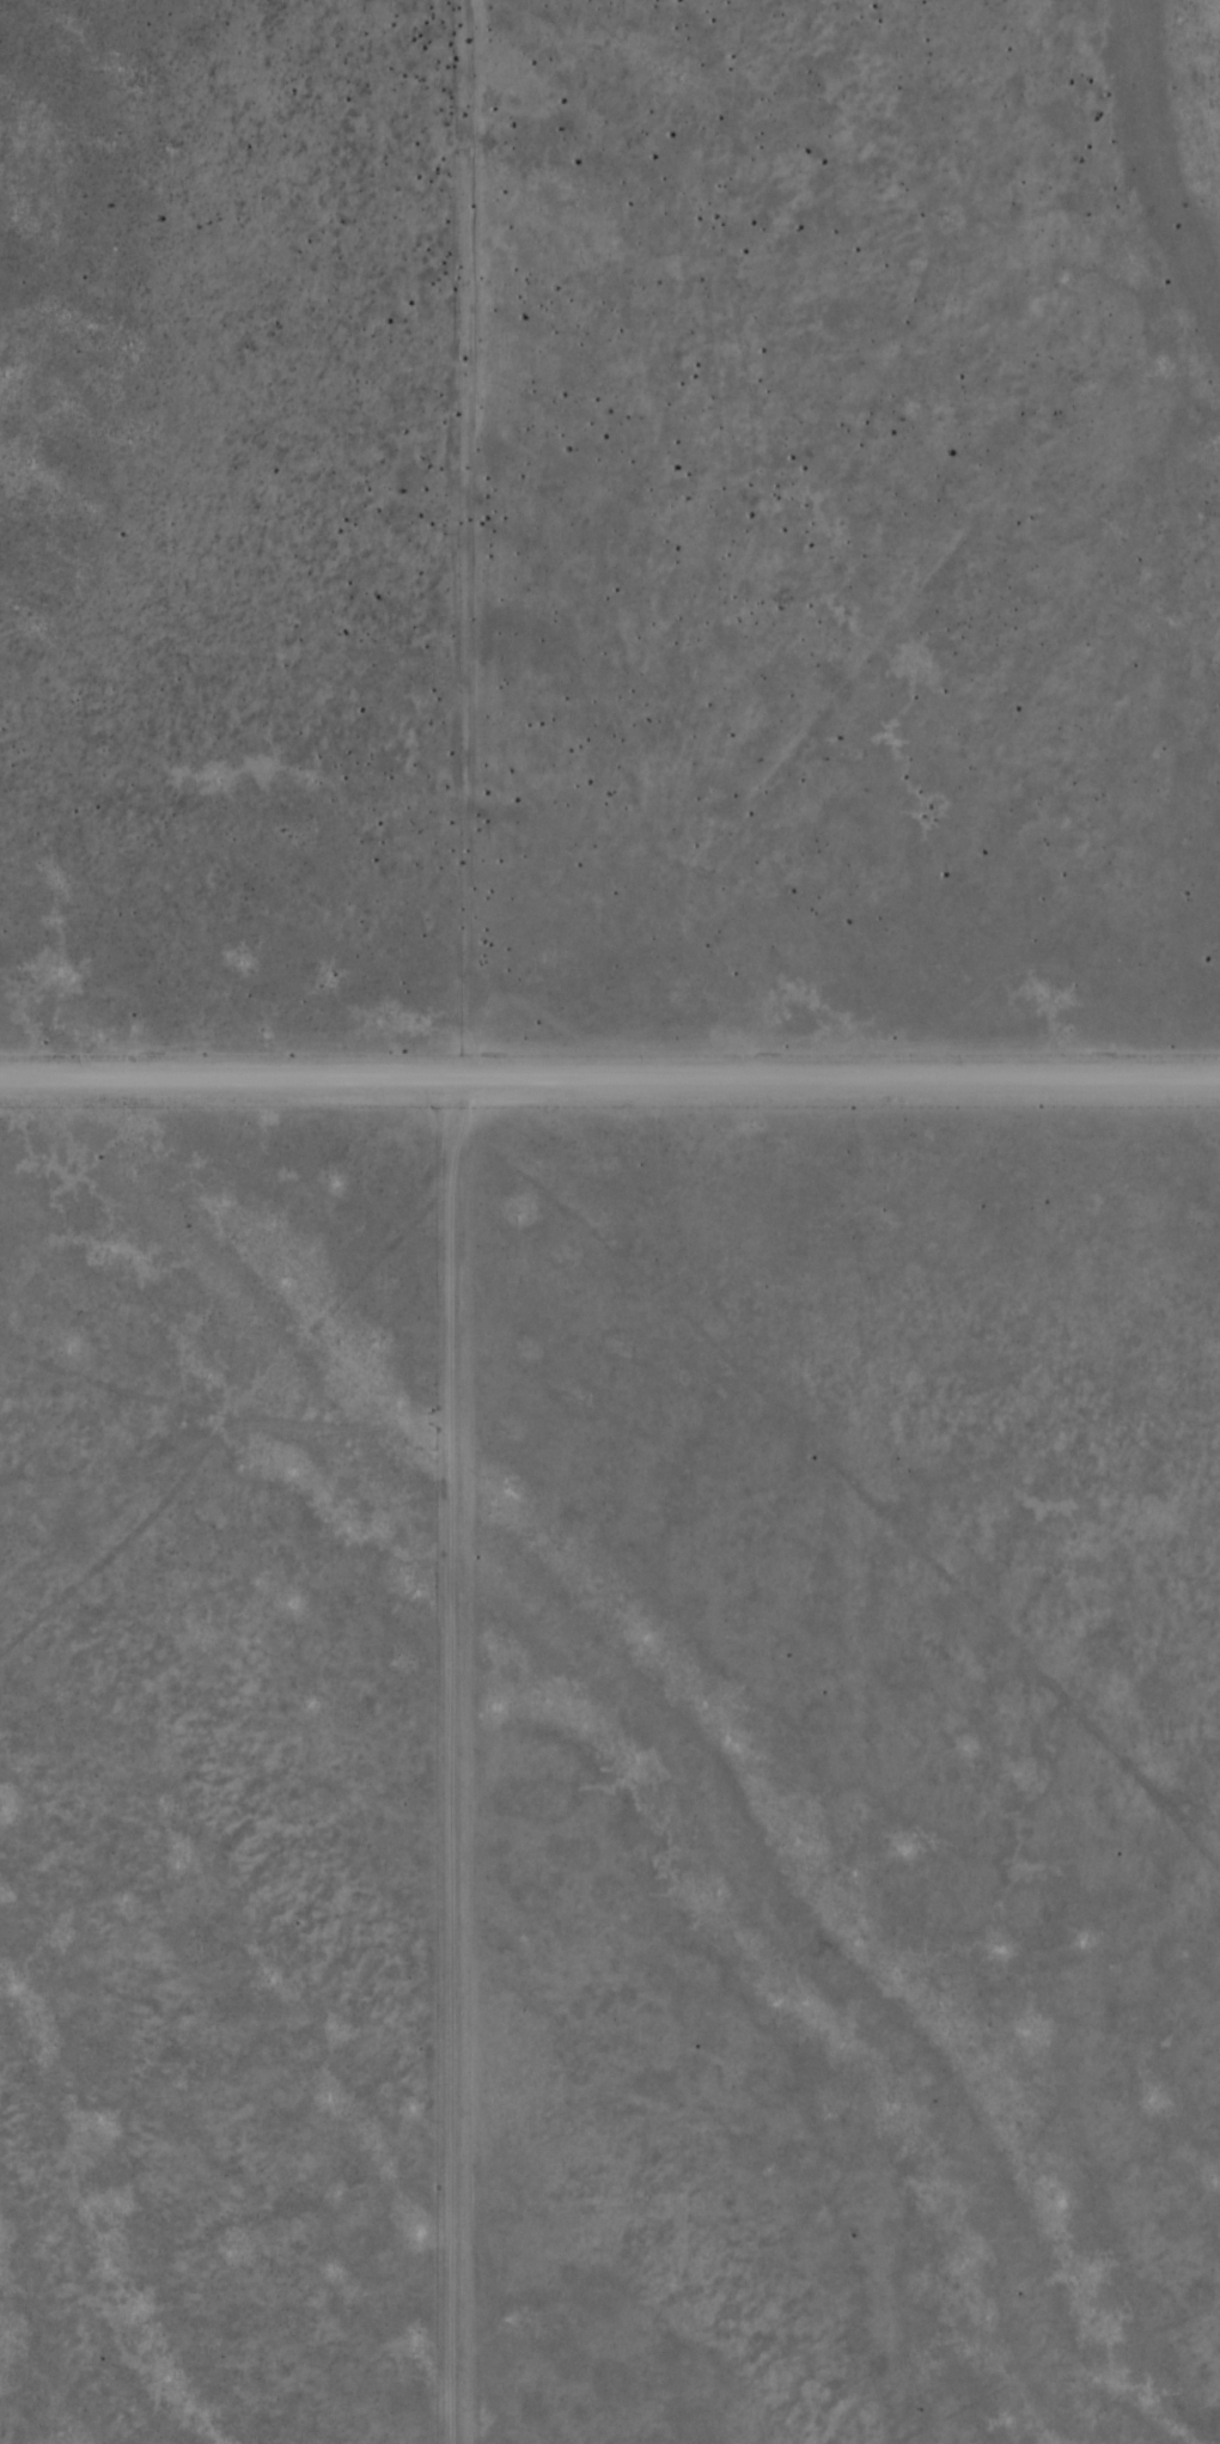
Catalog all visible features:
road: (610, 1097)

